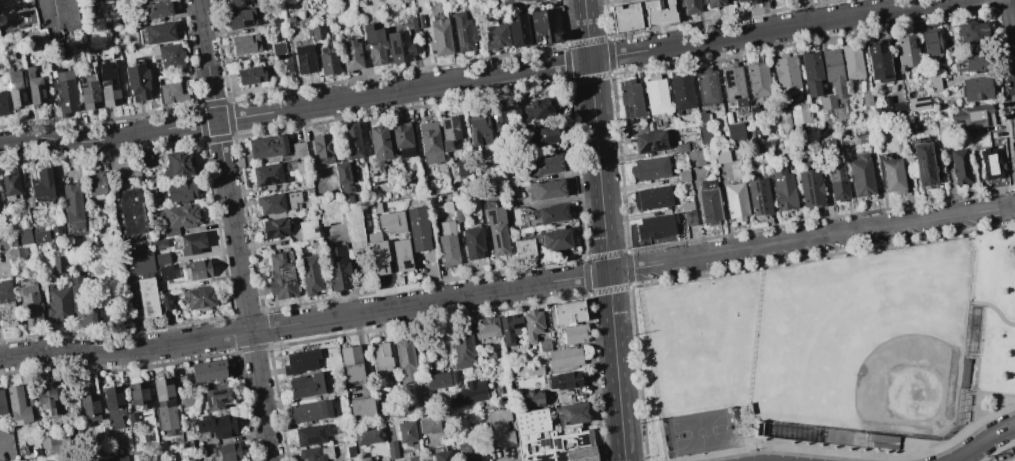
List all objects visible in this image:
building: (1, 0)
building: (146, 0)
building: (479, 0)
building: (516, 0)
building: (738, 0)
building: (500, 1)
building: (753, 1)
building: (236, 2)
building: (714, 3)
building: (689, 6)
road: (45, 9)
building: (154, 9)
building: (658, 12)
building: (65, 13)
building: (24, 17)
building: (624, 17)
building: (240, 18)
building: (419, 21)
building: (275, 22)
building: (409, 22)
rooftop solar panel: (246, 23)
building: (544, 26)
road: (1012, 27)
building: (518, 30)
building: (317, 31)
building: (463, 31)
building: (972, 32)
building: (156, 33)
building: (495, 34)
building: (440, 37)
building: (34, 38)
rooftop solar panel: (460, 38)
rooftop solar panel: (401, 39)
building: (930, 42)
building: (245, 44)
building: (374, 44)
building: (398, 46)
building: (907, 50)
building: (154, 51)
rooftop solar panel: (394, 51)
rooftop solar panel: (403, 52)
building: (350, 54)
building: (170, 55)
building: (281, 56)
building: (303, 59)
building: (327, 61)
building: (972, 61)
building: (852, 62)
building: (878, 62)
building: (811, 72)
building: (785, 74)
building: (251, 75)
building: (832, 77)
road: (475, 78)
building: (757, 80)
building: (137, 82)
building: (733, 84)
building: (934, 85)
building: (706, 86)
building: (15, 87)
building: (34, 87)
building: (975, 89)
building: (64, 90)
building: (173, 92)
building: (681, 92)
building: (109, 93)
building: (89, 95)
building: (656, 95)
building: (630, 97)
building: (866, 99)
building: (917, 103)
building: (2, 104)
building: (882, 105)
building: (897, 107)
building: (536, 110)
building: (500, 112)
building: (799, 113)
rooftop solar panel: (629, 114)
building: (972, 115)
building: (702, 116)
building: (782, 121)
rooftop solar panel: (446, 125)
building: (448, 131)
building: (478, 131)
building: (734, 132)
building: (704, 133)
building: (541, 136)
building: (402, 139)
building: (430, 140)
building: (648, 140)
building: (351, 141)
building: (378, 143)
building: (267, 146)
building: (681, 147)
building: (321, 148)
building: (827, 148)
building: (297, 150)
building: (721, 155)
building: (695, 158)
building: (990, 163)
building: (177, 164)
building: (923, 164)
building: (299, 165)
building: (543, 165)
building: (463, 166)
building: (959, 167)
building: (649, 168)
rooftop solar panel: (921, 169)
building: (270, 173)
building: (342, 176)
building: (861, 176)
building: (892, 176)
rooftop solar panel: (268, 180)
building: (95, 183)
rooftop solar panel: (807, 183)
building: (10, 184)
building: (42, 184)
building: (837, 184)
building: (428, 186)
building: (783, 188)
building: (810, 188)
building: (545, 189)
building: (181, 191)
building: (758, 193)
building: (652, 197)
building: (29, 201)
building: (734, 201)
building: (277, 202)
building: (708, 202)
building: (72, 205)
building: (686, 206)
building: (131, 211)
building: (550, 213)
building: (182, 215)
building: (458, 215)
rooftop solar panel: (492, 218)
building: (689, 218)
building: (391, 221)
building: (352, 225)
building: (654, 227)
building: (274, 228)
building: (417, 228)
building: (307, 229)
road: (234, 230)
building: (496, 230)
road: (604, 230)
building: (56, 231)
building: (169, 231)
rooftop solar panel: (266, 234)
building: (24, 235)
building: (40, 236)
building: (555, 239)
rooftop solar panel: (496, 241)
building: (189, 242)
building: (472, 242)
building: (158, 243)
building: (447, 244)
building: (523, 248)
building: (17, 253)
building: (377, 253)
building: (401, 255)
building: (161, 258)
building: (140, 262)
building: (58, 266)
building: (336, 267)
building: (198, 268)
building: (165, 272)
building: (309, 275)
building: (281, 276)
road: (507, 289)
building: (76, 291)
building: (147, 297)
building: (198, 298)
building: (165, 300)
building: (58, 304)
building: (6, 305)
building: (29, 305)
road: (993, 308)
building: (568, 312)
building: (83, 317)
building: (532, 323)
building: (485, 327)
building: (509, 328)
building: (574, 333)
park: (699, 342)
park: (863, 342)
building: (461, 348)
building: (489, 355)
building: (564, 357)
building: (380, 359)
building: (404, 360)
building: (300, 361)
building: (351, 363)
building: (207, 370)
building: (534, 370)
building: (438, 379)
building: (563, 380)
building: (305, 385)
building: (469, 392)
road: (975, 393)
building: (138, 394)
road: (998, 395)
building: (215, 398)
building: (530, 399)
building: (46, 400)
rooftop solar panel: (224, 400)
rooftop solar panel: (208, 402)
building: (1, 403)
building: (164, 404)
building: (17, 406)
building: (113, 406)
building: (89, 407)
building: (361, 407)
building: (309, 410)
building: (572, 412)
building: (132, 422)
building: (428, 424)
building: (217, 426)
building: (498, 427)
building: (406, 431)
park: (701, 432)
building: (311, 434)
building: (367, 435)
building: (550, 440)
road: (985, 442)
building: (55, 443)
building: (392, 449)
building: (226, 451)
building: (35, 452)
building: (348, 452)
building: (314, 453)
building: (467, 455)
building: (442, 456)
building: (117, 458)
building: (363, 458)
building: (411, 458)
building: (192, 459)
building: (48, 460)

